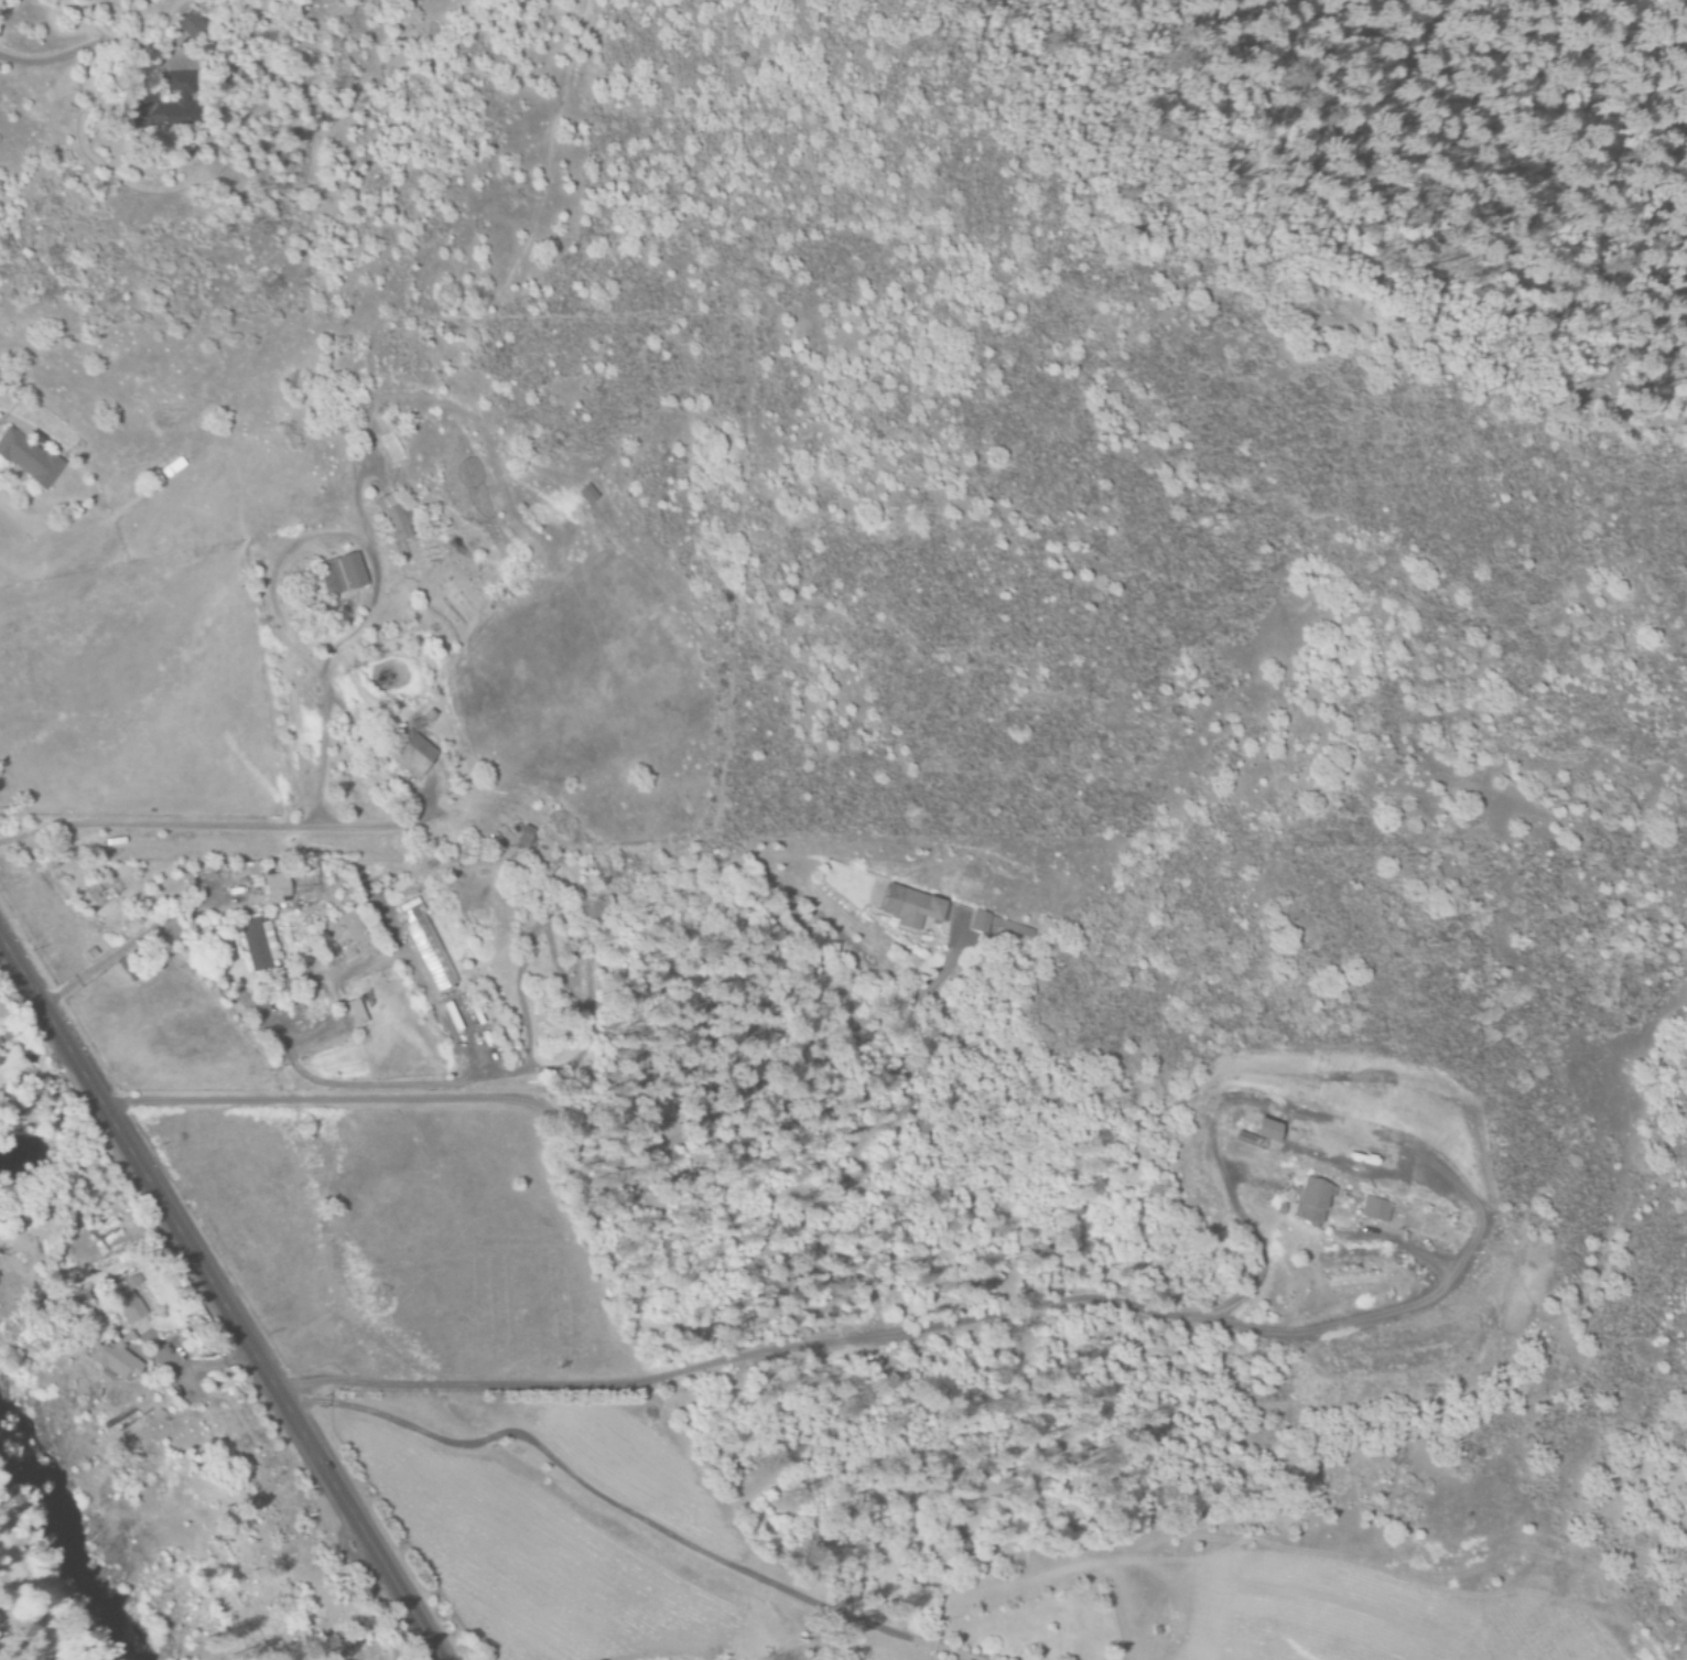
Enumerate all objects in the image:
building: (190, 24)
road: (41, 56)
building: (166, 105)
building: (28, 459)
building: (584, 495)
building: (393, 517)
building: (339, 574)
building: (410, 752)
building: (522, 839)
building: (274, 890)
building: (910, 907)
building: (980, 923)
building: (1012, 928)
building: (258, 944)
building: (423, 947)
building: (354, 1013)
building: (1266, 1130)
building: (1250, 1140)
building: (1310, 1201)
building: (1375, 1209)
building: (131, 1282)
road: (218, 1296)
building: (131, 1311)
building: (125, 1338)
building: (110, 1360)
river: (73, 1550)
road: (377, 1605)

